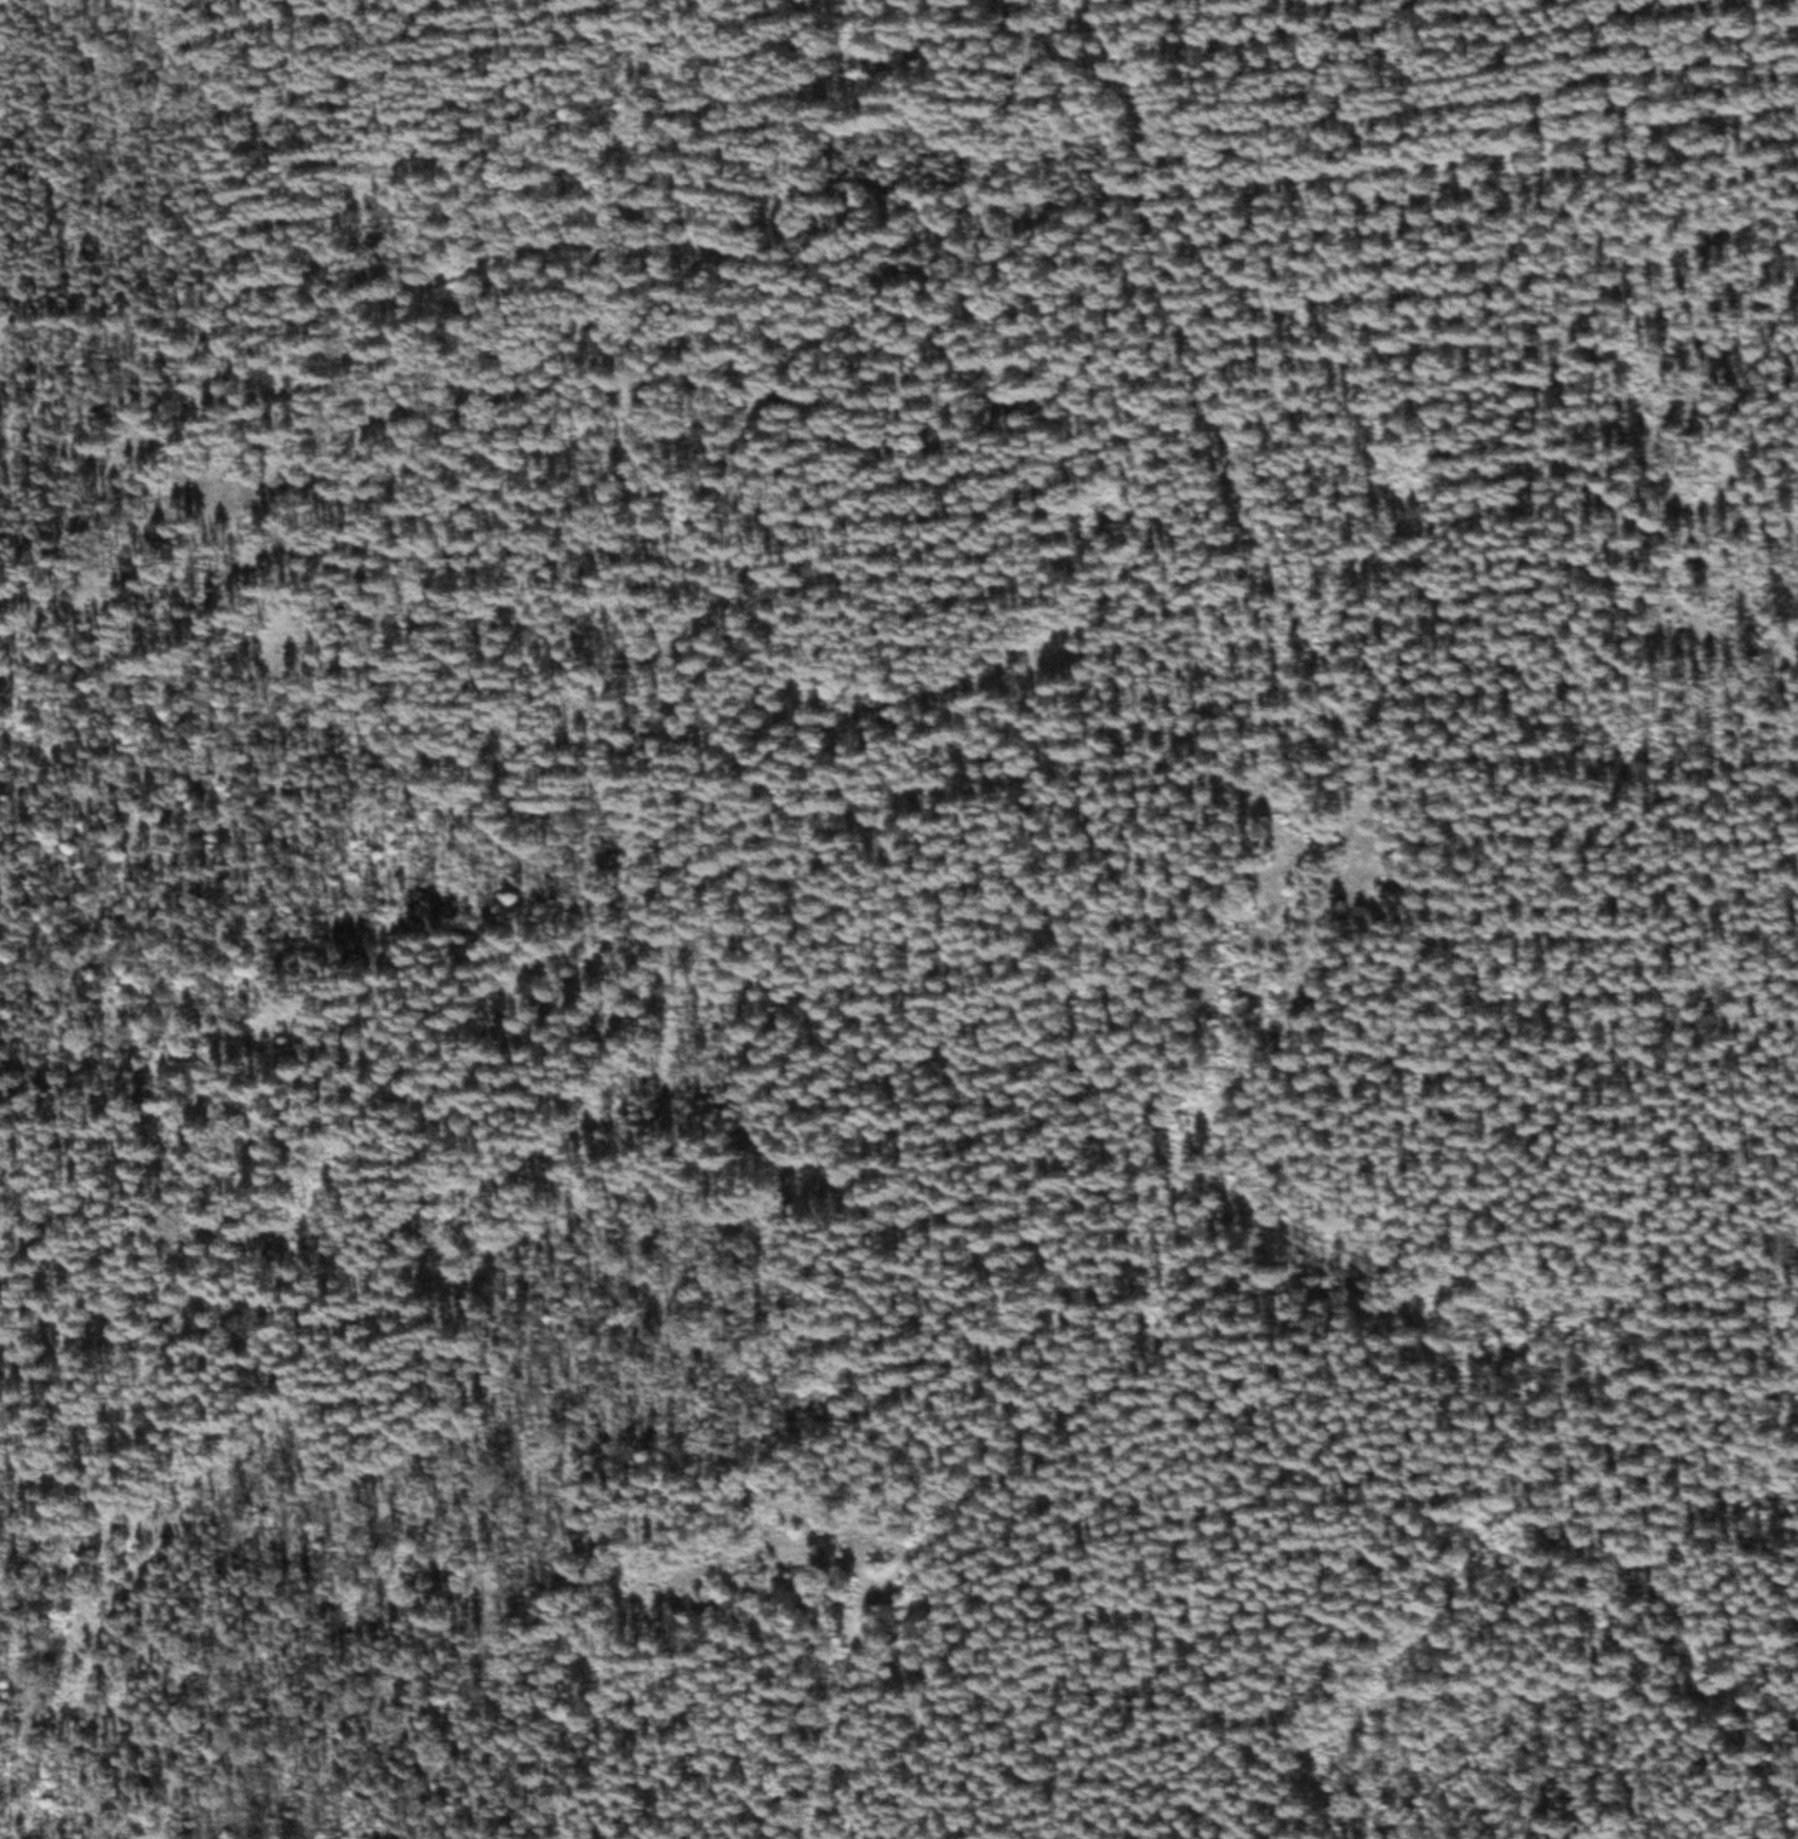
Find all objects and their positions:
road: (8, 64)
road: (888, 257)
road: (18, 276)
road: (1183, 1211)

